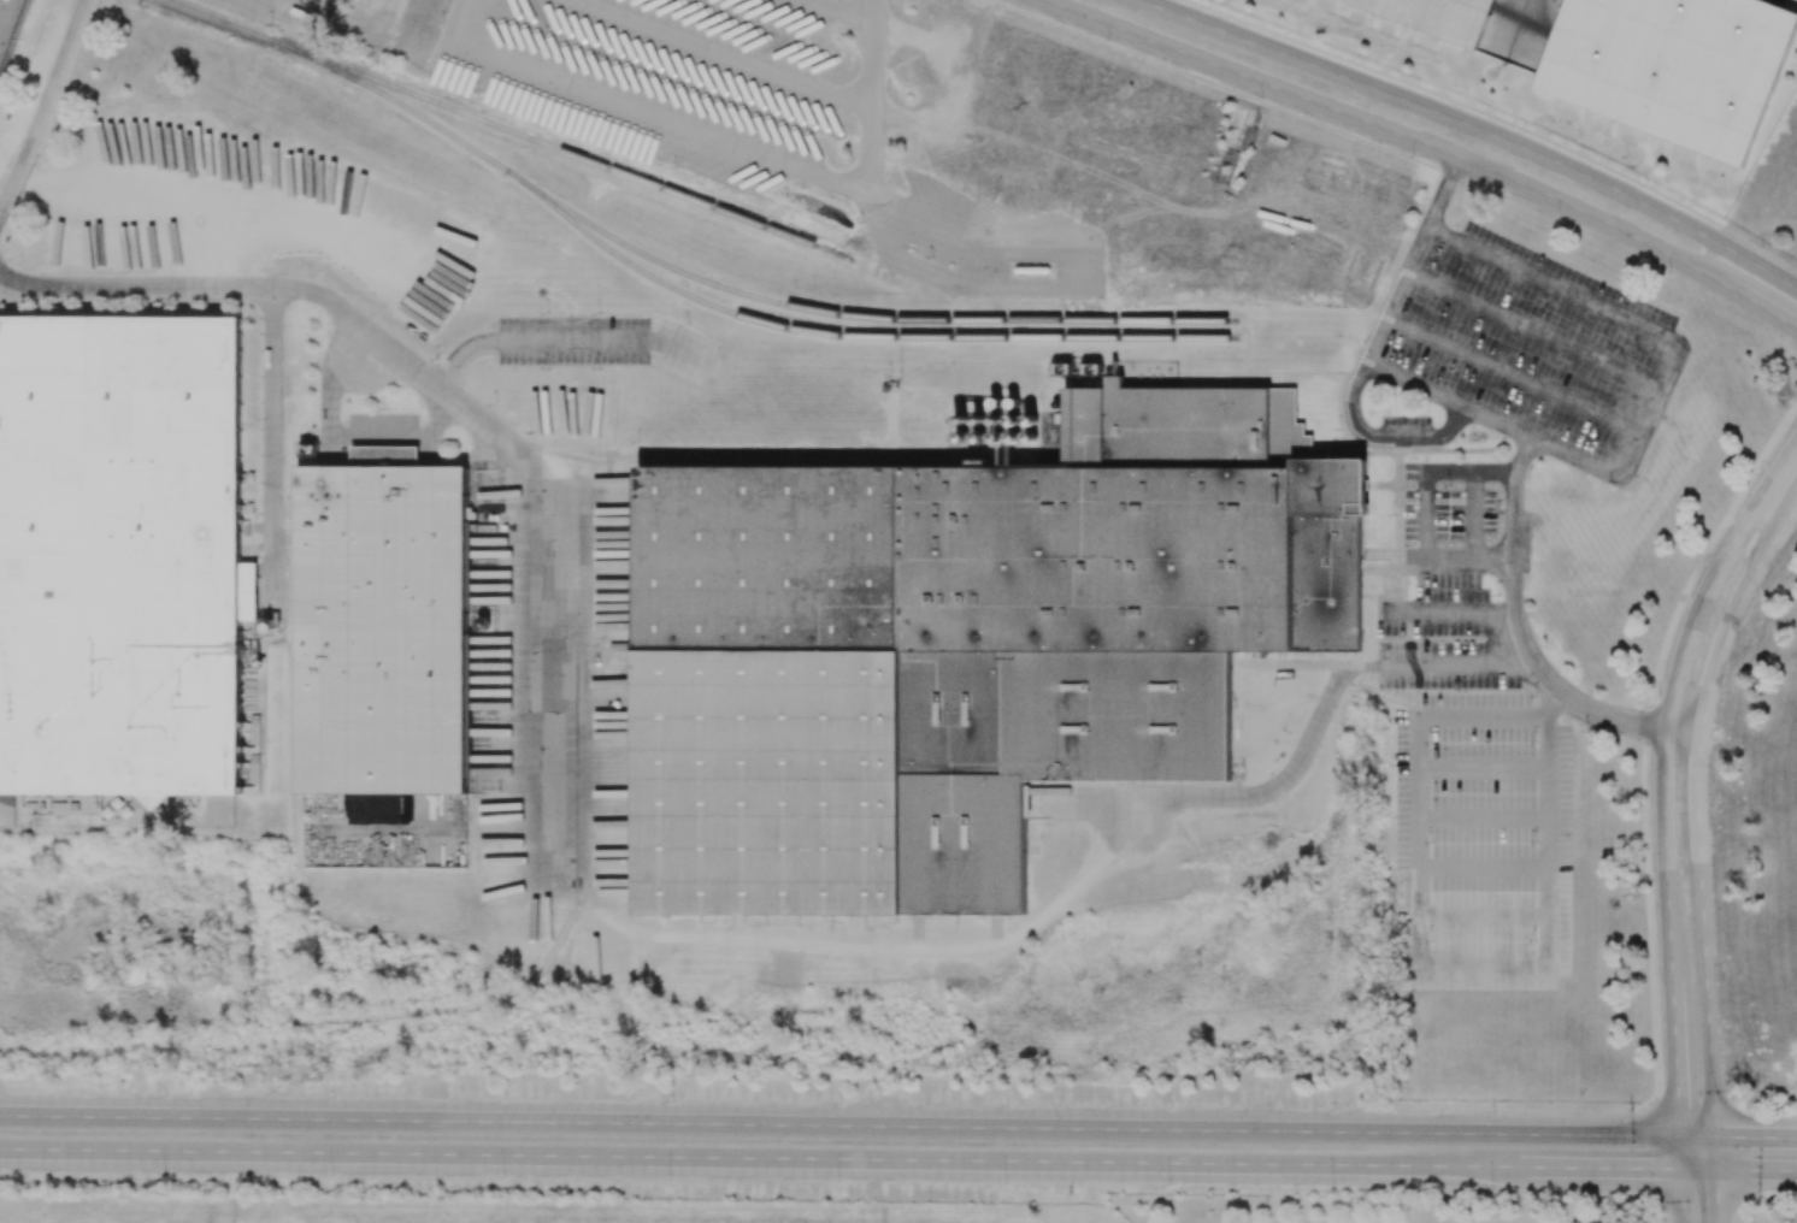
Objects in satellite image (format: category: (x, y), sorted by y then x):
street lamp: (1208, 5)
road: (275, 12)
building: (1432, 17)
building: (10, 28)
street lamp: (1108, 40)
street lamp: (1360, 63)
building: (1667, 67)
road: (871, 87)
street lamp: (1261, 98)
road: (46, 106)
street lamp: (1515, 122)
road: (1475, 126)
road: (1384, 128)
railway: (507, 130)
parking lot: (950, 136)
street lamp: (1413, 155)
street lamp: (1646, 182)
street lamp: (1557, 219)
street lamp: (1761, 248)
railway: (653, 258)
street lamp: (1668, 273)
road: (201, 286)
road: (1755, 302)
railway: (777, 326)
road: (1532, 330)
street lamp: (1796, 348)
road: (1371, 349)
parking lot: (1515, 350)
road: (1512, 373)
road: (1649, 410)
road: (344, 435)
road: (271, 439)
road: (746, 454)
street lamp: (1767, 462)
road: (1424, 515)
road: (1472, 516)
building: (119, 554)
parking lot: (1462, 584)
street lamp: (1755, 598)
road: (1736, 609)
road: (1450, 613)
building: (382, 627)
road: (1522, 642)
building: (964, 644)
road: (1673, 690)
street lamp: (1657, 697)
road: (1551, 703)
road: (1322, 709)
road: (1646, 733)
building: (249, 756)
road: (1481, 764)
parking lot: (1480, 792)
road: (1698, 802)
road: (1481, 815)
road: (1420, 865)
road: (570, 891)
road: (1708, 1008)
road: (1674, 1052)
street lamp: (164, 1095)
street lamp: (331, 1097)
street lamp: (1731, 1098)
street lamp: (505, 1099)
street lamp: (671, 1100)
street lamp: (839, 1103)
street lamp: (1006, 1104)
traffic signals: (1677, 1105)
street lamp: (1169, 1106)
street lamp: (1630, 1107)
street lamp: (1333, 1109)
street lamp: (1493, 1109)
road: (839, 1125)
road: (1696, 1136)
traffic signals: (1736, 1138)
road: (1755, 1138)
road: (1656, 1150)
road: (1680, 1153)
road: (1715, 1153)
road: (717, 1157)
road: (1474, 1166)
road: (1597, 1169)
traffic signals: (1644, 1170)
road: (1698, 1170)
road: (1756, 1170)
street lamp: (163, 1172)
street lamp: (331, 1175)
street lamp: (502, 1177)
street lamp: (670, 1177)
street lamp: (838, 1180)
street lamp: (1004, 1182)
street lamp: (1168, 1184)
street lamp: (1332, 1186)
street lamp: (1492, 1188)
traffic signals: (1716, 1189)
street lamp: (1760, 1195)
road: (1683, 1197)
road: (1716, 1197)
street lamp: (1652, 1201)
road: (1658, 1211)

